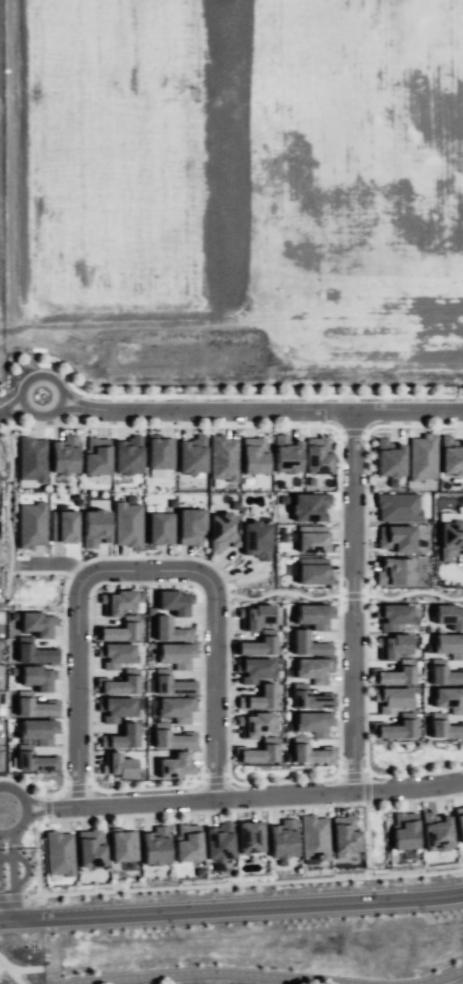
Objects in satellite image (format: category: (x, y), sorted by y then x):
road: (25, 379)
road: (69, 398)
road: (9, 403)
road: (66, 408)
road: (11, 409)
road: (270, 412)
road: (170, 424)
road: (412, 425)
road: (340, 432)
road: (352, 432)
road: (364, 433)
building: (159, 453)
building: (285, 454)
building: (63, 455)
building: (95, 455)
building: (127, 455)
building: (191, 455)
building: (253, 455)
building: (317, 455)
building: (451, 456)
building: (422, 457)
building: (222, 458)
building: (30, 459)
building: (388, 460)
building: (308, 506)
building: (398, 507)
road: (6, 516)
building: (30, 524)
building: (126, 524)
building: (62, 526)
building: (189, 526)
building: (94, 527)
building: (159, 528)
building: (222, 530)
building: (395, 538)
building: (255, 539)
building: (312, 539)
building: (450, 539)
road: (140, 556)
road: (60, 563)
building: (311, 570)
building: (394, 571)
road: (39, 572)
road: (141, 581)
road: (284, 591)
road: (411, 592)
road: (351, 595)
building: (115, 602)
building: (174, 602)
road: (353, 602)
road: (365, 602)
road: (339, 603)
building: (313, 615)
building: (392, 615)
building: (253, 616)
building: (449, 616)
building: (36, 623)
building: (119, 630)
building: (170, 630)
road: (77, 632)
building: (257, 644)
building: (307, 644)
building: (392, 645)
building: (449, 645)
building: (33, 653)
building: (115, 654)
building: (175, 654)
building: (253, 669)
building: (313, 669)
building: (443, 673)
building: (37, 677)
road: (213, 682)
building: (119, 683)
building: (171, 683)
building: (259, 698)
building: (308, 698)
building: (391, 698)
building: (448, 699)
building: (33, 705)
building: (114, 708)
building: (175, 708)
building: (313, 722)
building: (254, 724)
building: (395, 727)
building: (443, 727)
building: (38, 730)
building: (121, 737)
building: (168, 737)
building: (257, 752)
building: (309, 752)
building: (32, 759)
building: (117, 765)
building: (175, 765)
road: (366, 772)
road: (415, 773)
road: (339, 775)
road: (352, 775)
road: (214, 778)
road: (280, 780)
road: (77, 787)
road: (145, 787)
road: (364, 788)
road: (408, 788)
road: (32, 791)
road: (47, 796)
road: (200, 800)
road: (36, 804)
road: (47, 807)
road: (25, 809)
road: (236, 809)
road: (36, 812)
road: (47, 817)
building: (459, 821)
building: (403, 830)
building: (435, 831)
building: (344, 833)
road: (367, 834)
building: (249, 836)
building: (313, 837)
building: (282, 839)
building: (218, 841)
road: (9, 842)
building: (187, 842)
building: (122, 845)
building: (154, 845)
building: (89, 847)
building: (58, 853)
road: (24, 863)
road: (38, 872)
road: (367, 872)
road: (13, 885)
road: (195, 887)
road: (10, 897)
road: (231, 909)
road: (3, 912)
park: (19, 959)
road: (11, 970)
road: (26, 970)
road: (216, 971)
road: (439, 977)

